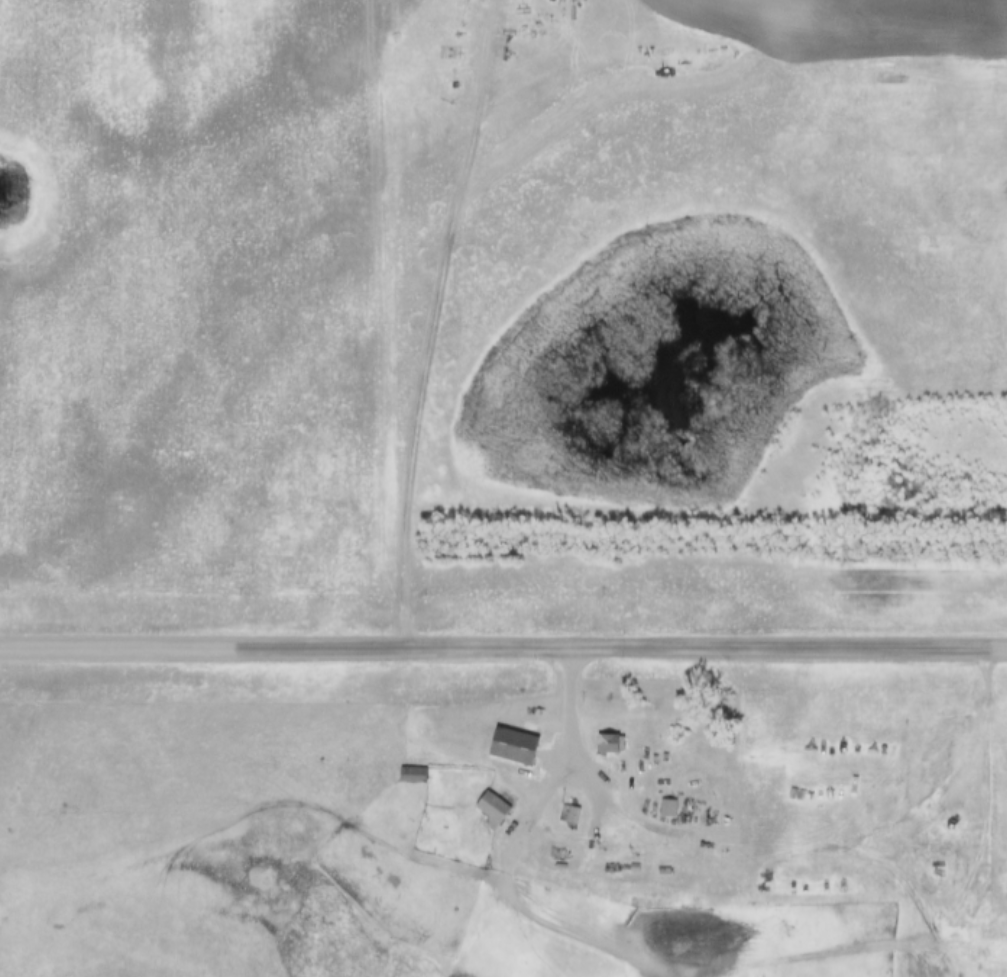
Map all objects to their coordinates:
road: (503, 652)
building: (613, 745)
building: (523, 747)
building: (412, 776)
road: (567, 776)
building: (672, 809)
building: (491, 813)
building: (570, 815)
road: (584, 936)

